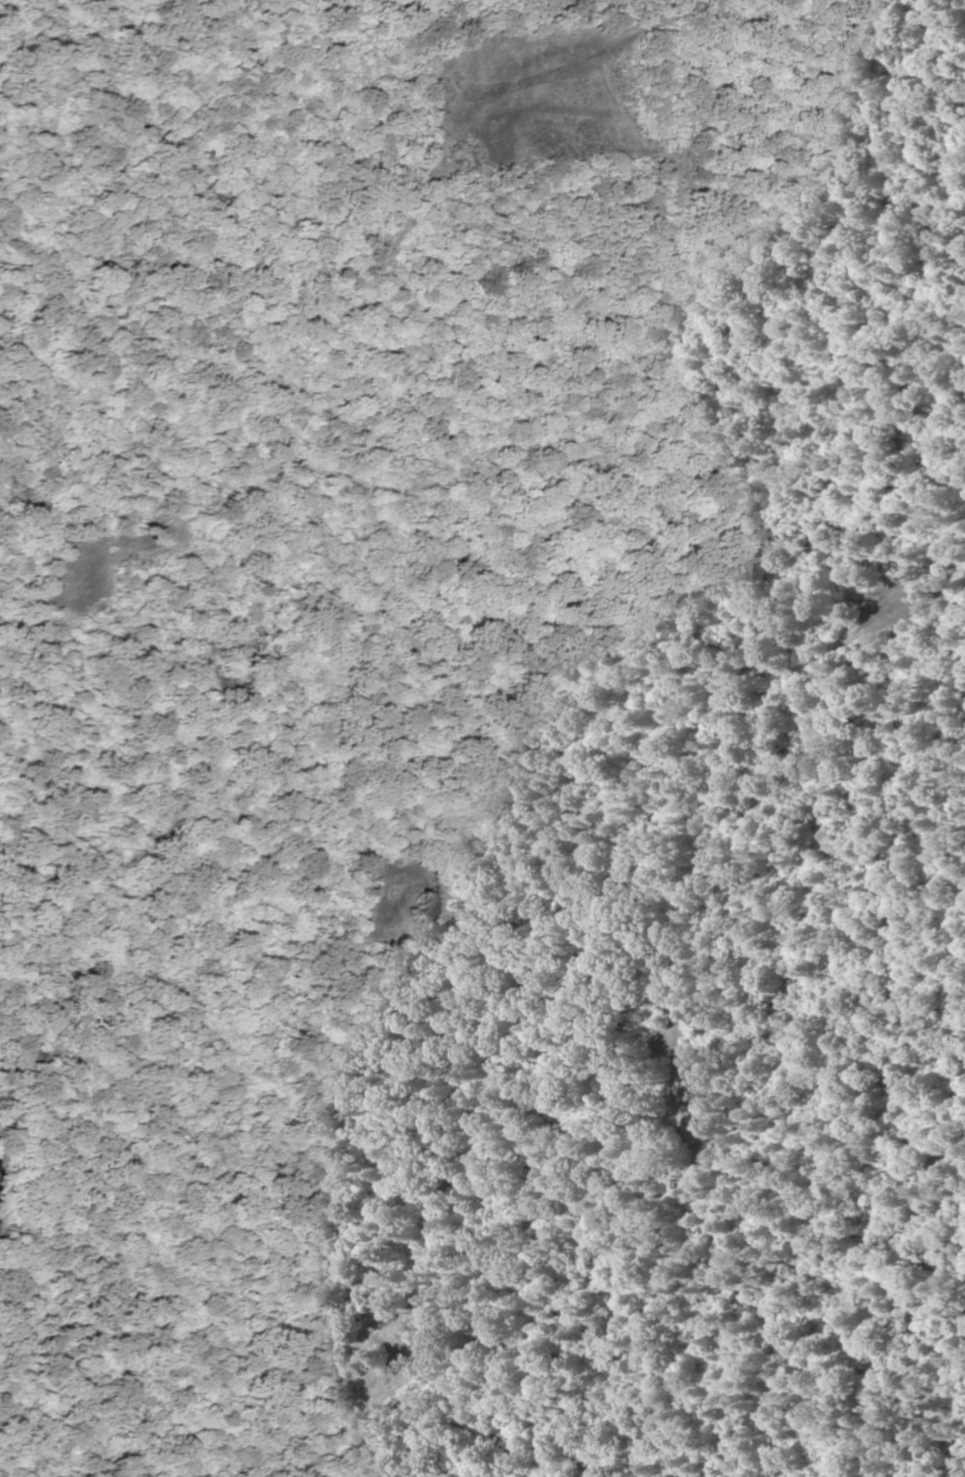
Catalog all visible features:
road: (689, 13)

